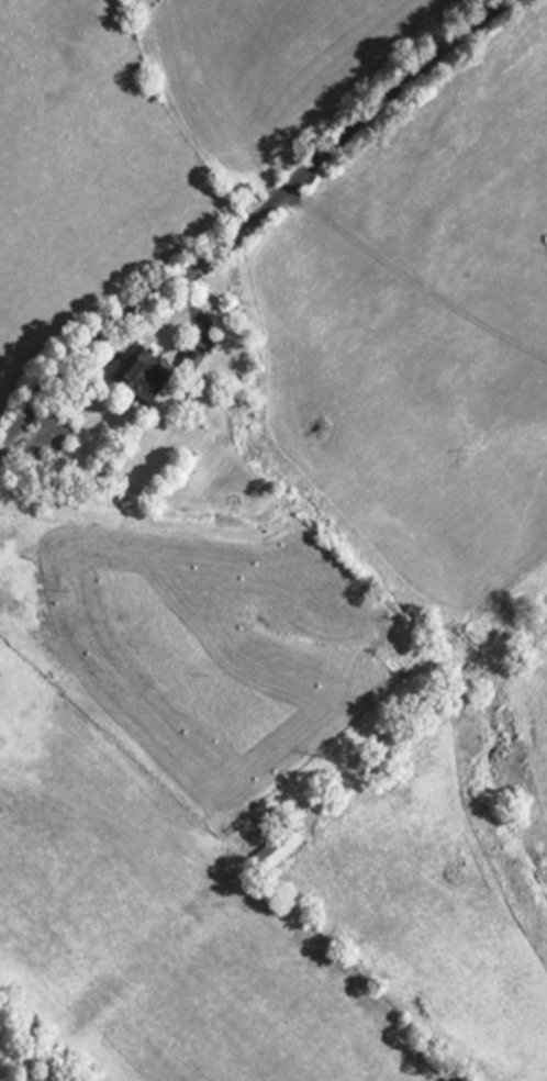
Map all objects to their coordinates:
crop: (83, 169)
road: (248, 222)
building: (133, 375)
building: (268, 847)

